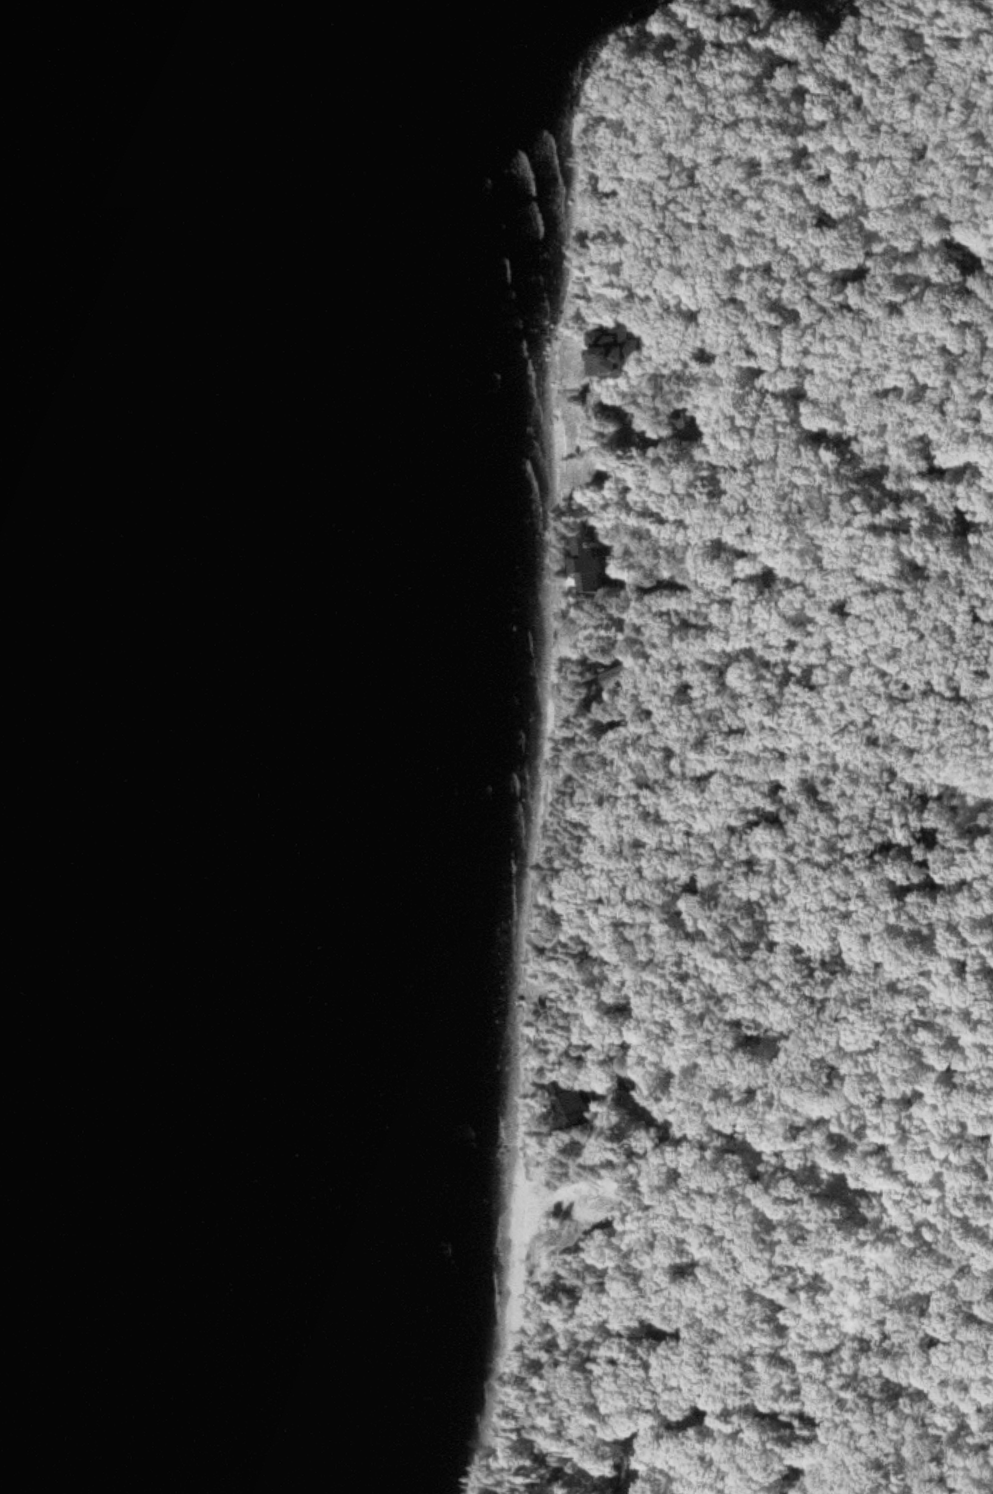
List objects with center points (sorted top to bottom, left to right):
building: (613, 354)
building: (594, 568)
building: (626, 679)
building: (649, 1010)
building: (636, 1085)
building: (581, 1104)
road: (844, 1164)
road: (891, 1366)
road: (954, 1366)
road: (791, 1412)

